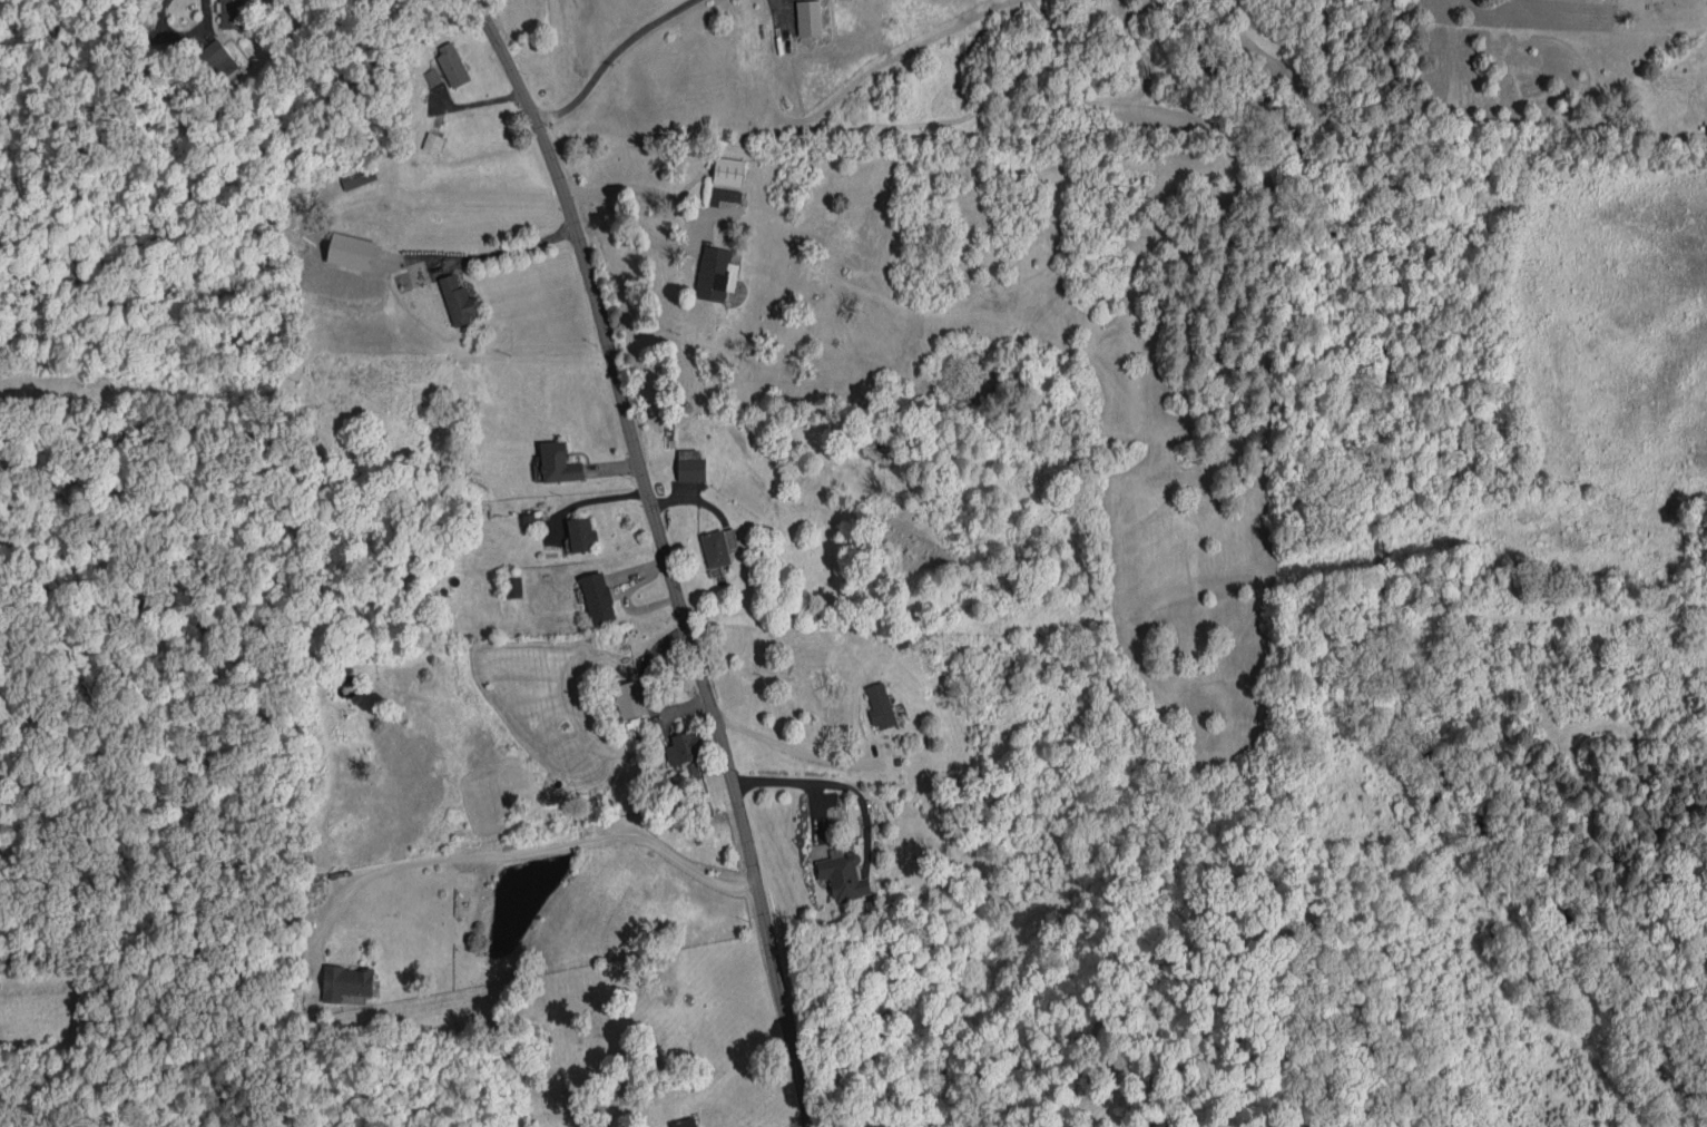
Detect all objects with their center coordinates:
building: (230, 13)
building: (808, 17)
road: (182, 35)
road: (609, 55)
building: (217, 59)
building: (451, 63)
building: (432, 76)
building: (728, 170)
building: (357, 176)
building: (724, 195)
road: (679, 241)
building: (351, 251)
road: (503, 252)
building: (716, 273)
building: (458, 301)
building: (558, 462)
building: (690, 465)
building: (581, 533)
building: (718, 546)
road: (666, 555)
building: (598, 597)
building: (634, 696)
building: (880, 706)
building: (684, 747)
road: (793, 753)
road: (801, 782)
road: (514, 852)
building: (843, 875)
building: (346, 982)
building: (684, 1123)

